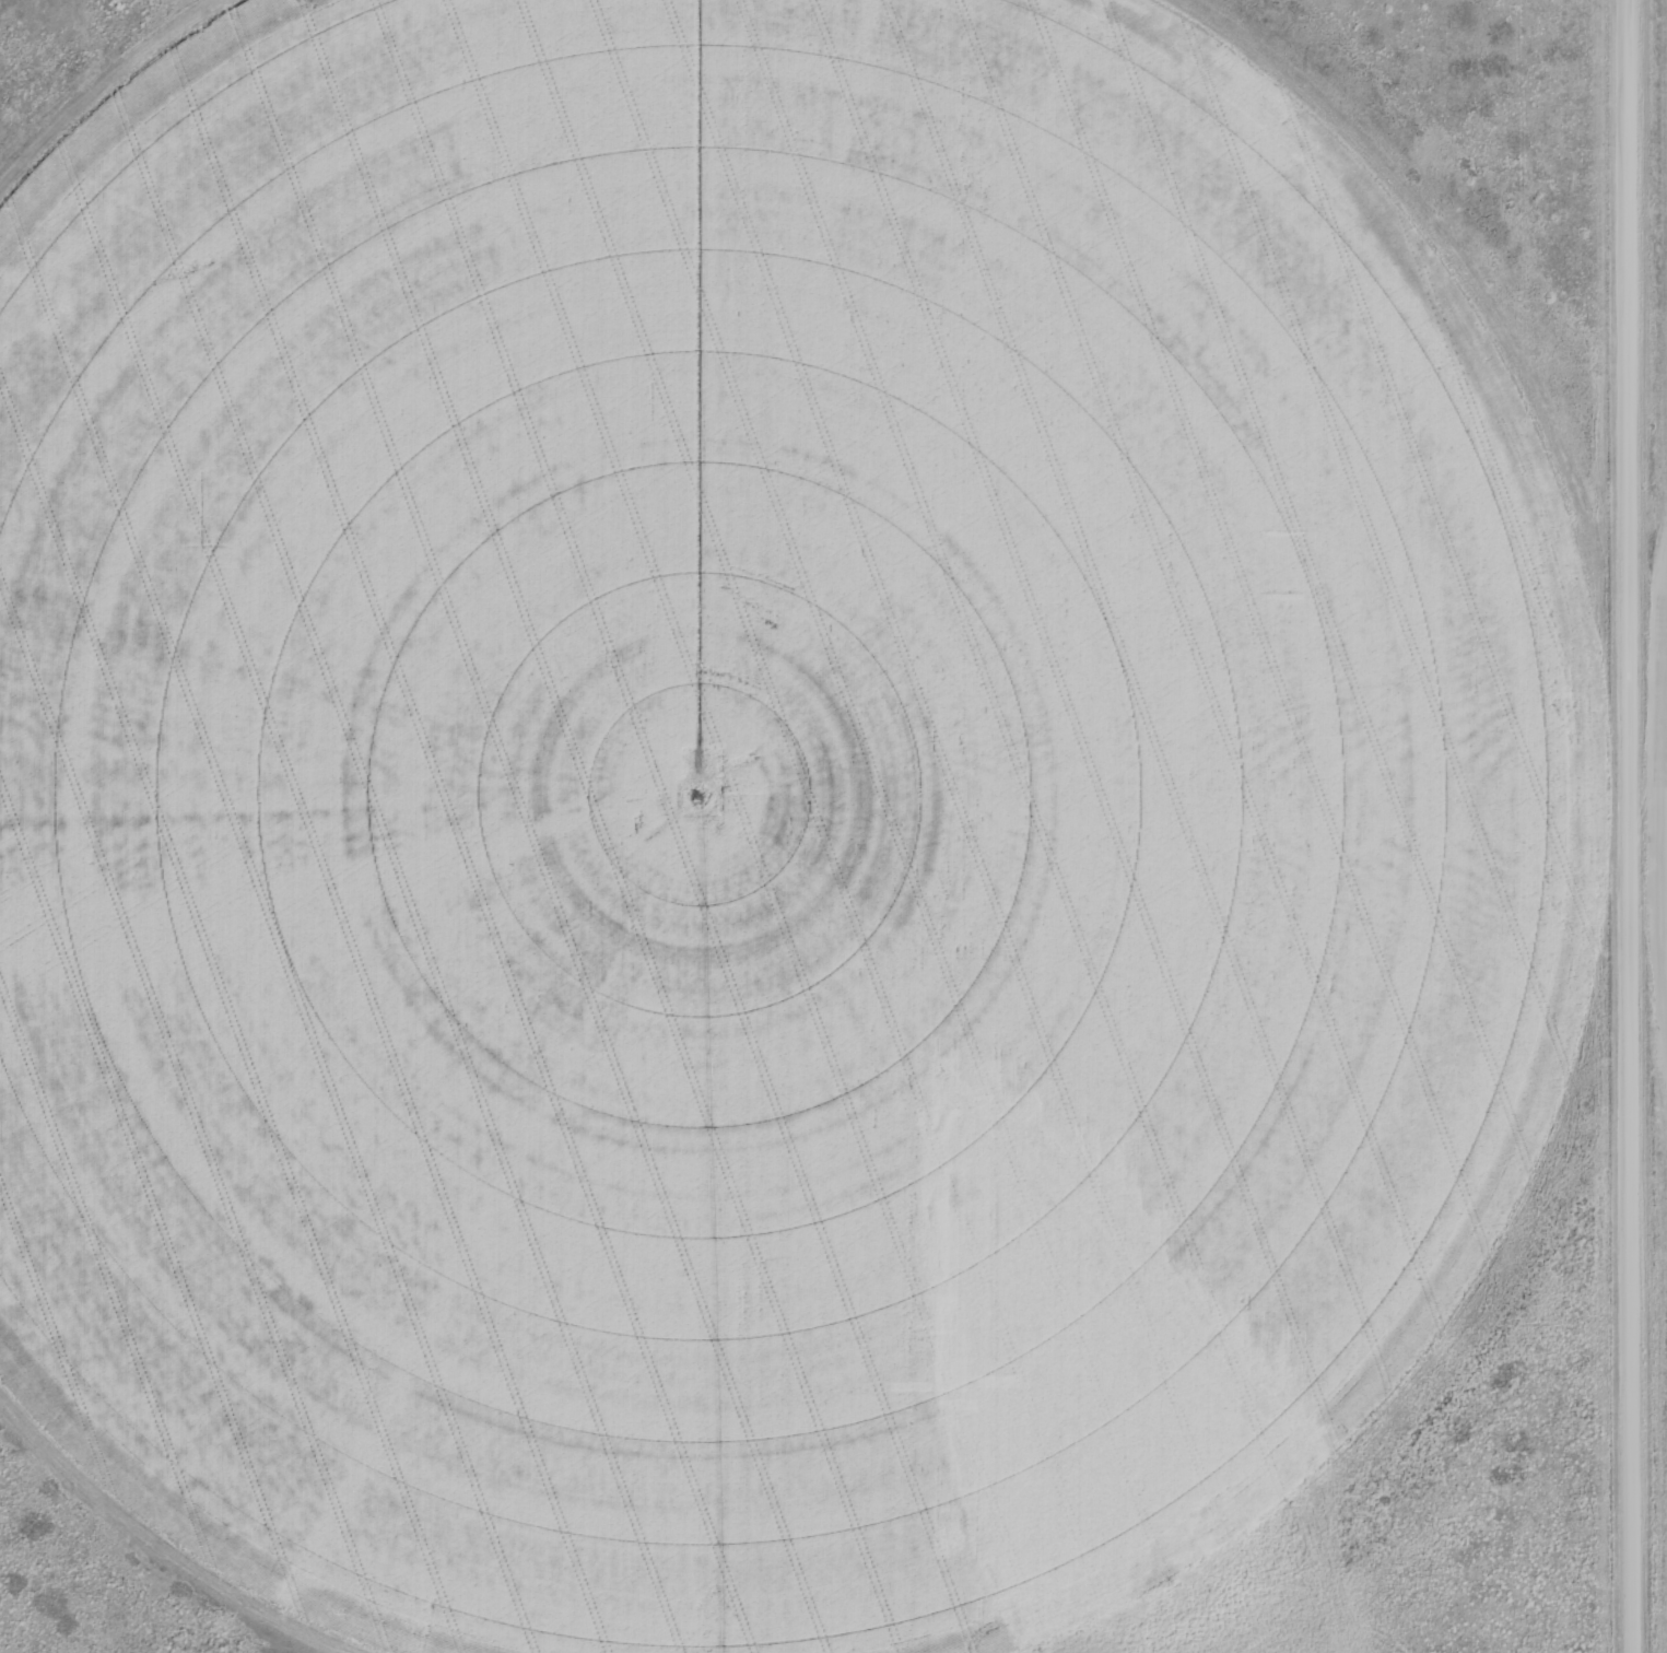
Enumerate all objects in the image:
road: (1633, 826)

